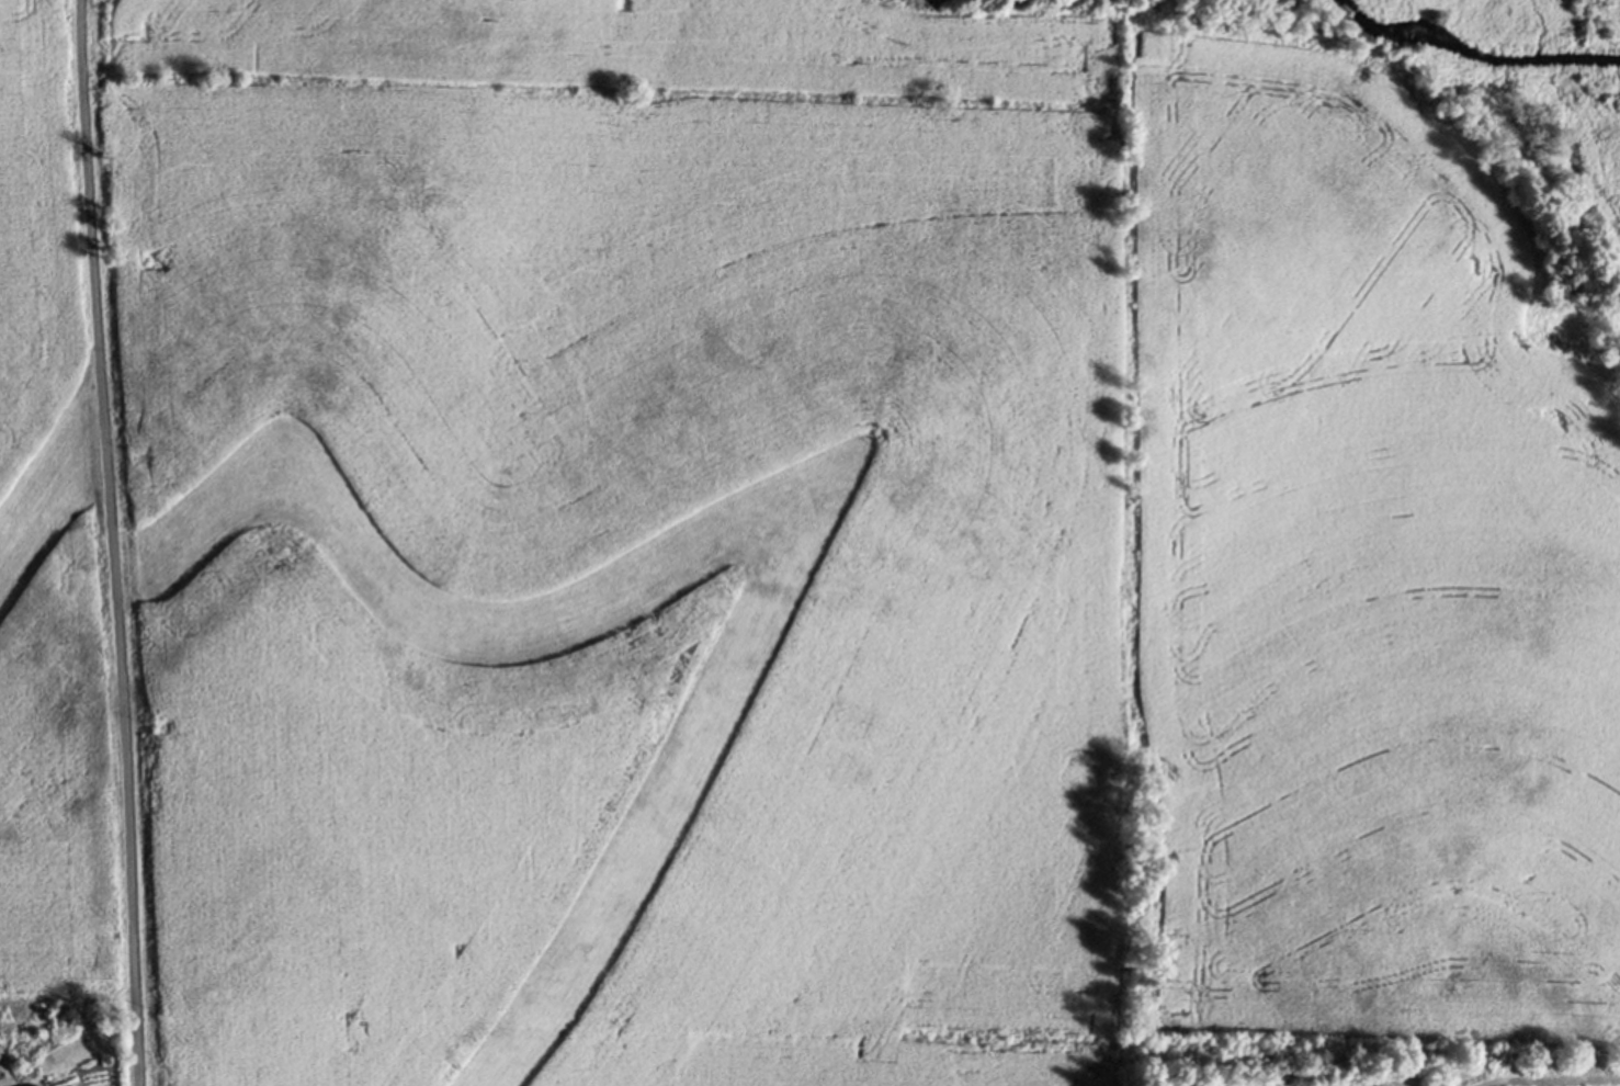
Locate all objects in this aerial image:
road: (113, 542)
crop: (44, 565)
crop: (849, 573)

